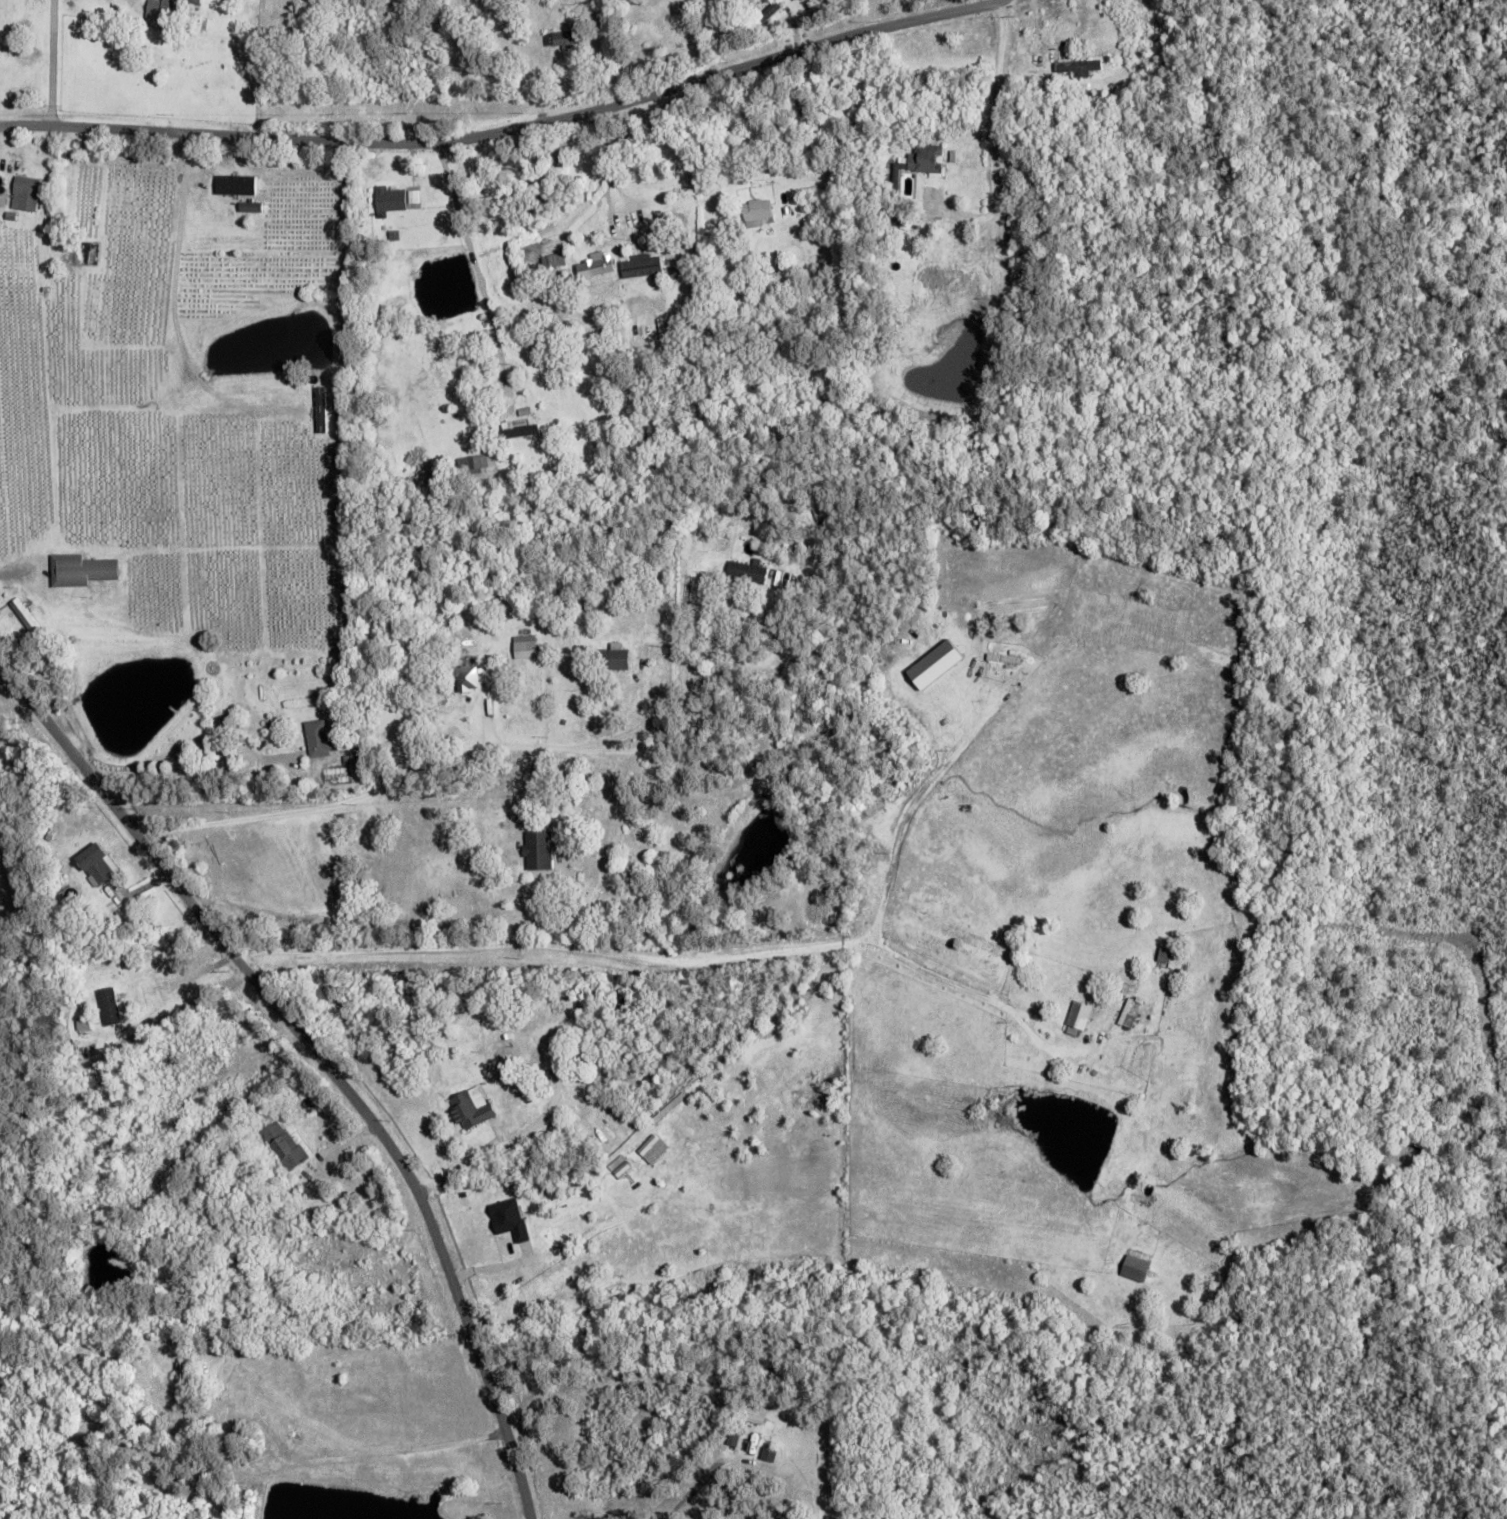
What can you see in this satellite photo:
building: (718, 11)
building: (170, 14)
building: (765, 19)
building: (308, 31)
building: (650, 37)
building: (562, 39)
building: (1044, 57)
building: (1079, 69)
road: (513, 130)
building: (28, 141)
building: (781, 171)
building: (7, 177)
building: (846, 178)
building: (677, 182)
building: (235, 184)
building: (896, 186)
building: (28, 190)
building: (3, 192)
building: (416, 194)
building: (245, 195)
building: (393, 196)
building: (820, 207)
building: (758, 209)
building: (394, 236)
building: (894, 255)
building: (558, 257)
building: (644, 262)
building: (597, 263)
building: (676, 269)
building: (945, 278)
road: (489, 287)
building: (693, 291)
building: (791, 311)
building: (933, 312)
building: (322, 398)
building: (559, 406)
building: (520, 428)
building: (471, 461)
building: (82, 568)
building: (750, 568)
building: (590, 605)
building: (28, 616)
building: (525, 646)
building: (1006, 656)
building: (617, 657)
building: (482, 667)
building: (467, 677)
building: (321, 736)
building: (360, 755)
building: (348, 757)
road: (420, 773)
road: (905, 808)
building: (53, 833)
building: (540, 848)
building: (100, 865)
road: (553, 946)
building: (1165, 953)
road: (956, 979)
building: (110, 1003)
building: (1131, 1011)
building: (1080, 1016)
building: (85, 1021)
building: (477, 1033)
building: (546, 1037)
road: (323, 1058)
building: (1140, 1100)
building: (287, 1145)
building: (652, 1147)
building: (221, 1192)
building: (509, 1217)
building: (1138, 1267)
building: (367, 1349)
building: (342, 1360)
building: (394, 1366)
building: (184, 1381)

